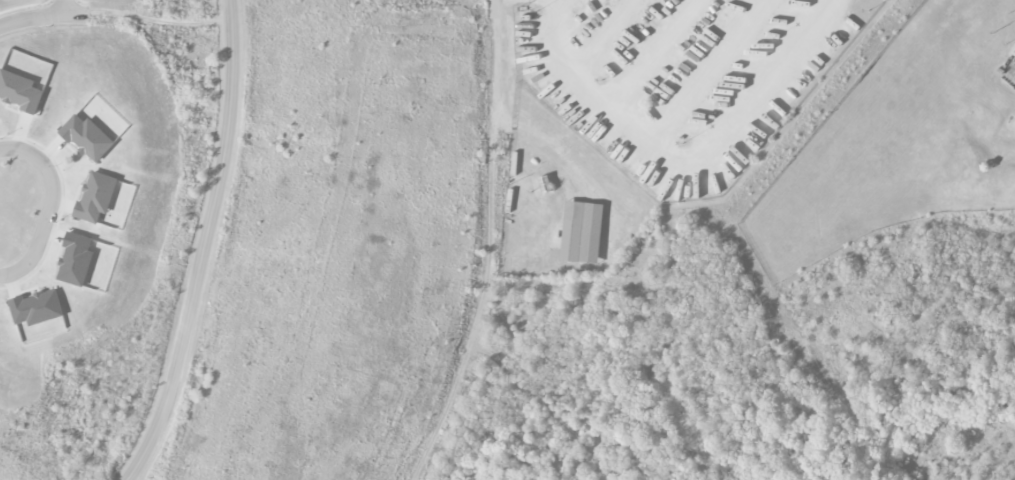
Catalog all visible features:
road: (66, 8)
road: (43, 18)
building: (1014, 52)
road: (496, 58)
building: (19, 91)
building: (87, 138)
road: (682, 156)
building: (95, 197)
road: (50, 207)
building: (581, 232)
road: (201, 245)
building: (75, 259)
building: (36, 308)

